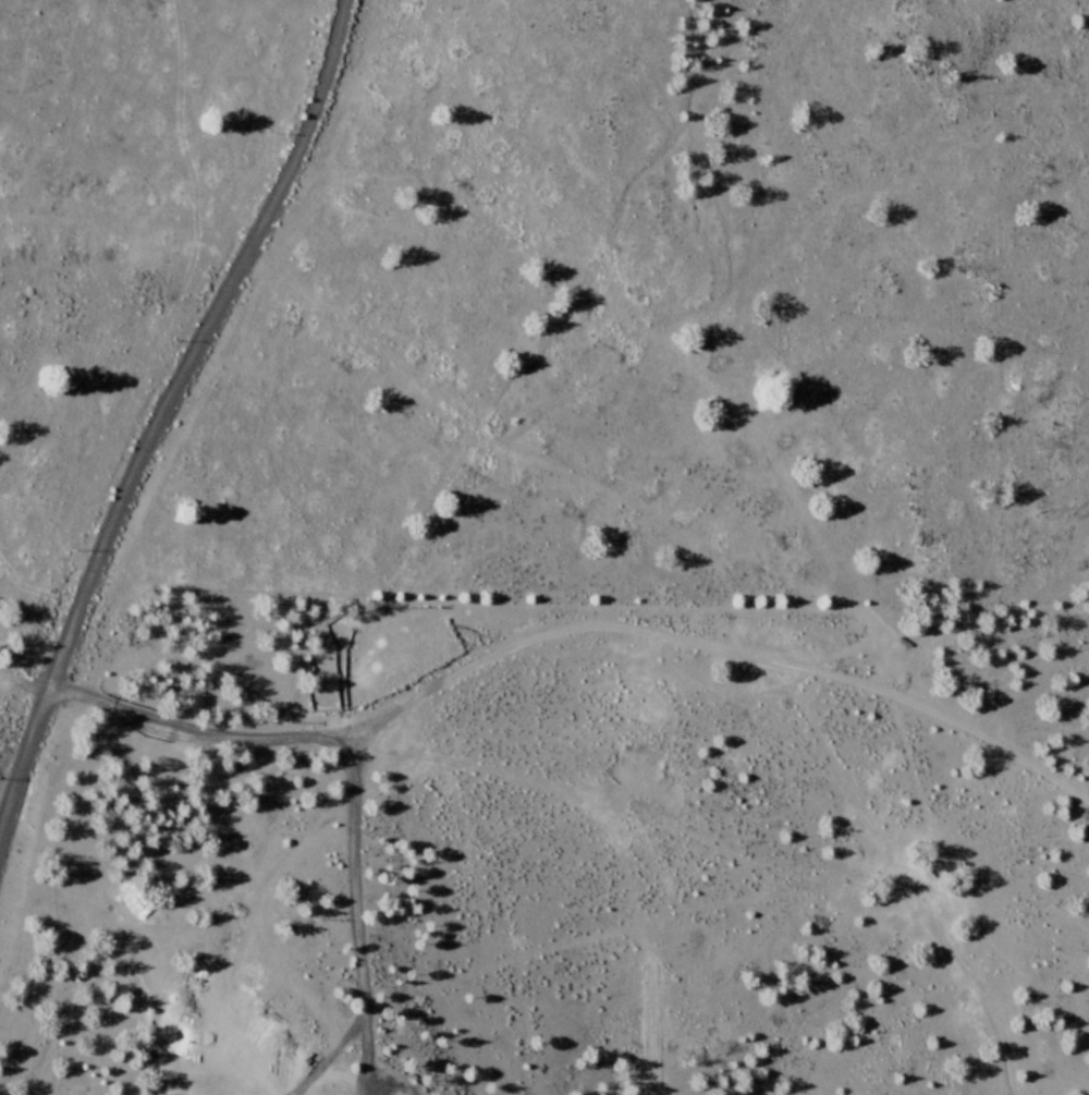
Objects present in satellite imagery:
road: (166, 414)

